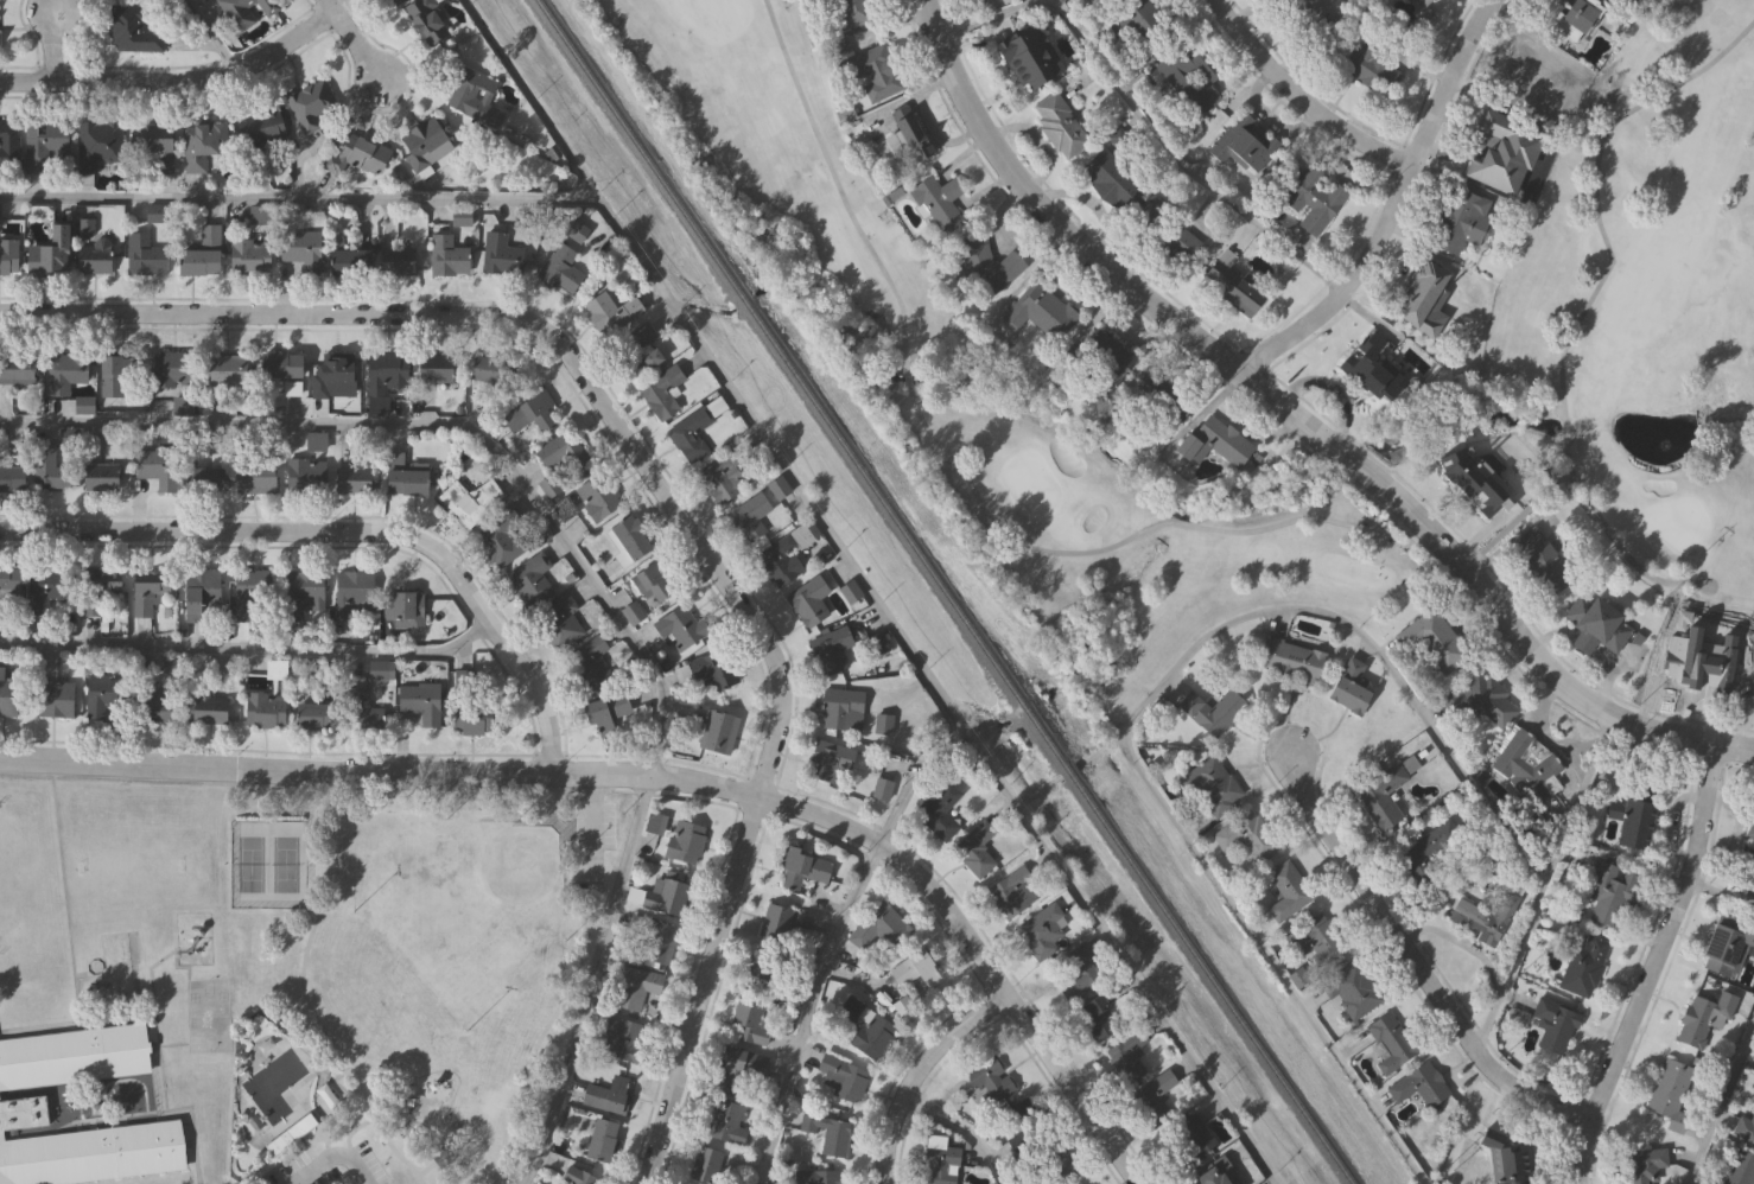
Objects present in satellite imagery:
building: (388, 1)
building: (1422, 1)
building: (1303, 8)
building: (248, 11)
building: (850, 11)
building: (1139, 15)
building: (1572, 18)
building: (431, 19)
building: (133, 26)
road: (211, 34)
road: (351, 38)
road: (52, 45)
building: (1025, 55)
building: (1364, 64)
building: (872, 71)
building: (1186, 78)
building: (1521, 79)
road: (176, 81)
building: (476, 93)
road: (1304, 96)
building: (313, 101)
building: (1059, 123)
road: (1142, 123)
building: (267, 125)
building: (905, 135)
building: (1485, 138)
building: (159, 139)
building: (210, 139)
building: (1241, 140)
building: (100, 141)
building: (430, 141)
building: (9, 144)
building: (50, 146)
building: (361, 154)
building: (1107, 179)
building: (1313, 197)
building: (936, 199)
road: (299, 200)
road: (1391, 205)
building: (260, 212)
building: (1462, 212)
building: (1178, 241)
building: (305, 243)
building: (96, 246)
building: (56, 250)
building: (205, 250)
building: (504, 252)
building: (11, 254)
building: (147, 254)
building: (253, 254)
building: (452, 254)
building: (403, 257)
building: (354, 260)
building: (986, 263)
building: (565, 267)
road: (1604, 275)
building: (1419, 289)
building: (1239, 293)
building: (615, 308)
building: (1038, 308)
park: (1641, 310)
building: (642, 349)
building: (1110, 358)
building: (285, 363)
building: (441, 365)
building: (19, 367)
building: (176, 367)
building: (495, 367)
building: (1369, 367)
building: (229, 369)
building: (68, 370)
building: (333, 370)
building: (117, 374)
building: (388, 376)
park: (920, 383)
building: (294, 387)
building: (665, 389)
road: (1332, 389)
building: (530, 407)
road: (1288, 410)
road: (440, 426)
building: (698, 426)
building: (318, 439)
building: (1212, 439)
building: (565, 447)
building: (160, 463)
building: (52, 469)
building: (309, 472)
building: (360, 472)
building: (214, 473)
building: (725, 473)
building: (104, 475)
building: (408, 475)
road: (962, 475)
building: (14, 477)
building: (259, 477)
building: (1463, 478)
road: (659, 492)
building: (600, 495)
building: (471, 501)
building: (755, 514)
road: (349, 534)
building: (506, 536)
building: (633, 539)
building: (1539, 560)
building: (782, 561)
building: (534, 578)
building: (51, 585)
building: (11, 587)
building: (102, 587)
building: (205, 590)
building: (306, 590)
building: (152, 591)
building: (356, 591)
building: (853, 591)
road: (866, 592)
railway: (942, 592)
building: (254, 593)
building: (812, 599)
building: (406, 607)
building: (636, 612)
building: (563, 620)
building: (1595, 624)
building: (684, 625)
building: (1430, 644)
building: (834, 648)
road: (250, 651)
building: (1289, 660)
building: (592, 661)
building: (278, 668)
building: (382, 668)
building: (717, 668)
building: (685, 671)
building: (1697, 674)
building: (1348, 686)
building: (12, 693)
building: (104, 693)
building: (59, 698)
building: (424, 700)
building: (157, 701)
building: (1485, 702)
building: (362, 704)
road: (1142, 704)
building: (215, 706)
building: (844, 706)
building: (609, 708)
building: (267, 709)
building: (1209, 709)
building: (320, 715)
building: (475, 717)
building: (722, 730)
road: (1734, 746)
road: (1734, 750)
building: (832, 758)
building: (1527, 766)
road: (659, 778)
building: (1210, 782)
building: (882, 787)
building: (1384, 791)
building: (938, 809)
building: (654, 821)
building: (1634, 825)
road: (593, 828)
building: (1749, 833)
building: (1244, 835)
building: (684, 840)
building: (975, 846)
building: (1428, 852)
building: (801, 865)
park: (271, 866)
road: (1548, 886)
building: (1013, 890)
building: (1286, 890)
building: (665, 892)
park: (490, 893)
road: (1720, 893)
park: (439, 895)
building: (1607, 895)
building: (1483, 917)
building: (775, 922)
building: (879, 925)
building: (1042, 928)
building: (1310, 938)
building: (654, 941)
road: (827, 941)
building: (1726, 944)
road: (1409, 961)
building: (1583, 965)
road: (1650, 966)
building: (911, 967)
building: (765, 969)
building: (1073, 970)
park: (403, 974)
road: (591, 981)
building: (635, 986)
building: (1349, 988)
road: (309, 1005)
building: (1098, 1016)
building: (1699, 1016)
building: (749, 1019)
building: (1552, 1024)
building: (866, 1027)
road: (540, 1037)
building: (619, 1038)
building: (1386, 1042)
building: (74, 1053)
building: (1124, 1056)
building: (738, 1065)
road: (917, 1072)
building: (845, 1077)
building: (989, 1078)
building: (1417, 1084)
building: (1669, 1091)
building: (606, 1093)
building: (1154, 1096)
road: (1718, 1097)
building: (1023, 1108)
building: (726, 1120)
building: (1745, 1123)
road: (962, 1128)
road: (347, 1129)
building: (291, 1132)
building: (821, 1134)
building: (599, 1138)
building: (1188, 1138)
building: (82, 1147)
road: (329, 1159)
building: (445, 1160)
building: (939, 1160)
building: (704, 1163)
building: (1056, 1164)
building: (1506, 1165)
building: (1641, 1165)
building: (1737, 1169)
road: (425, 1170)
building: (1216, 1171)
building: (578, 1176)
building: (818, 1176)
building: (1079, 1183)

